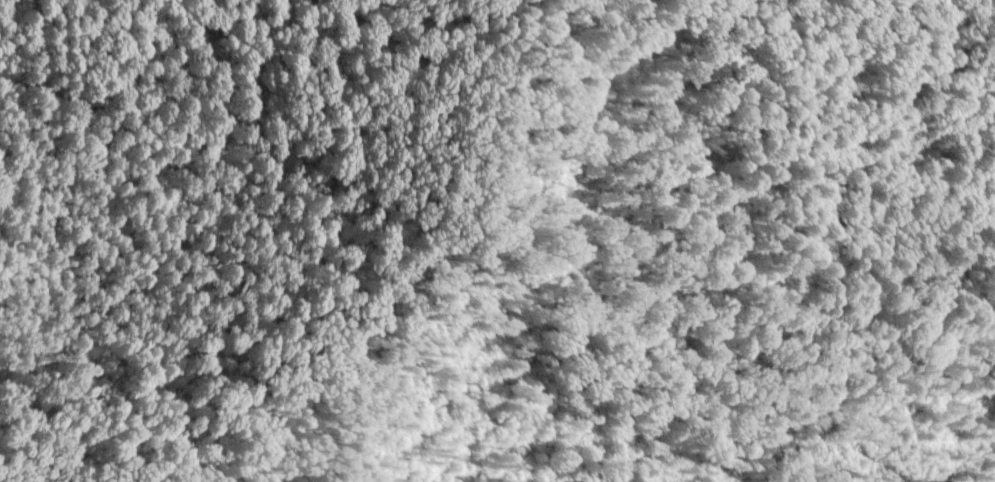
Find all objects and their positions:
road: (987, 191)
road: (393, 296)

